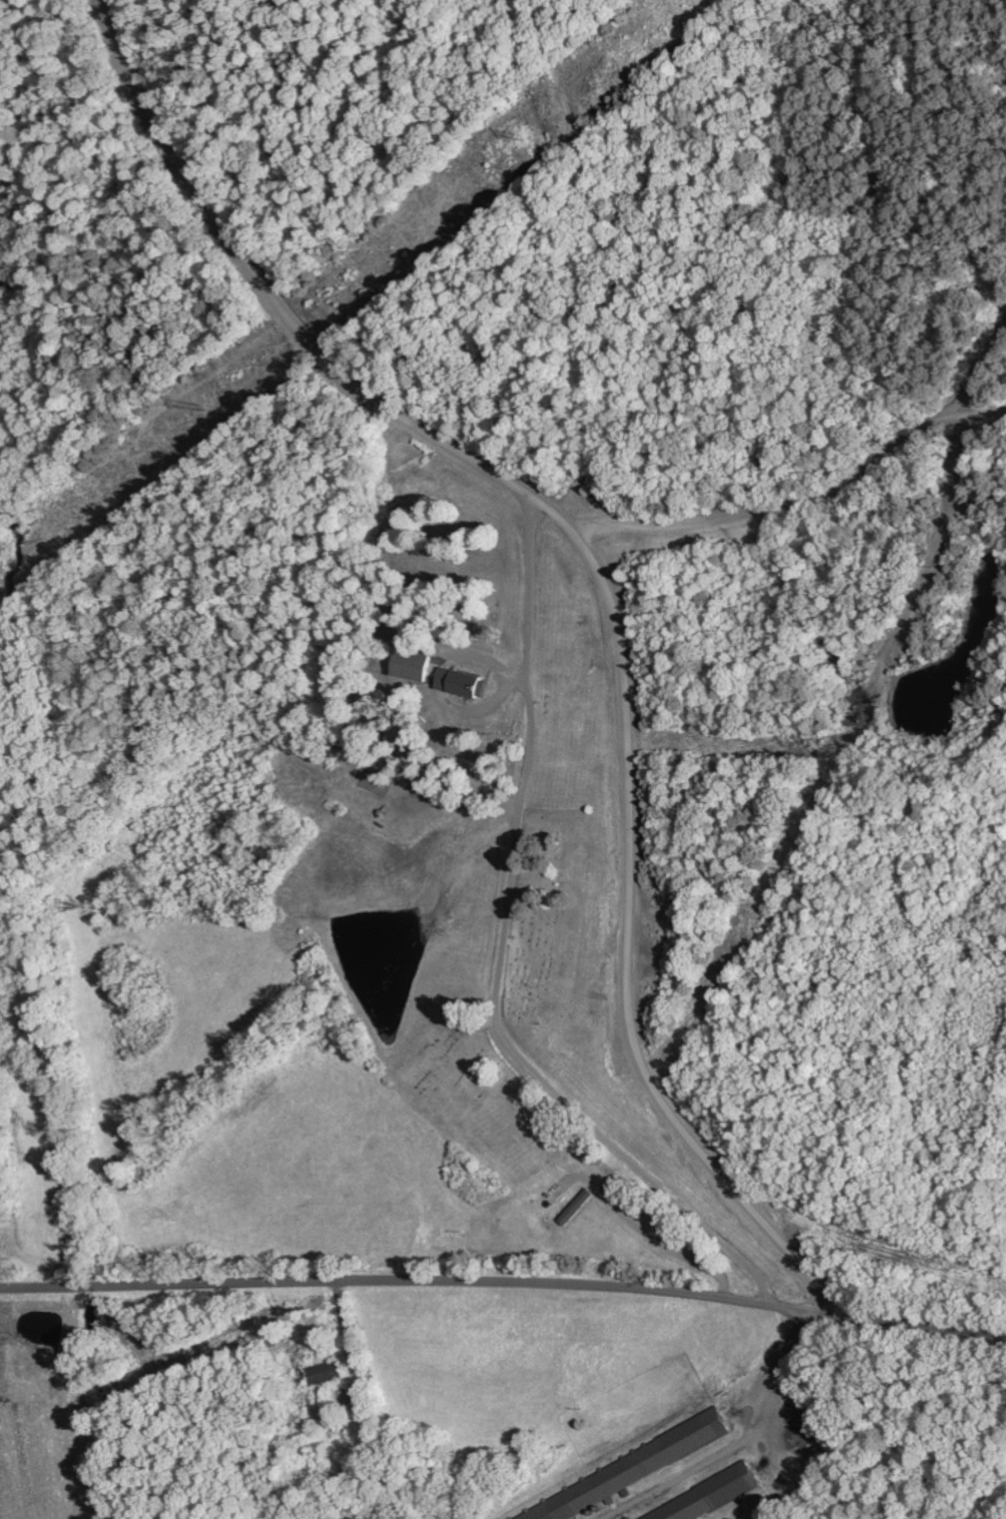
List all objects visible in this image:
road: (741, 289)
road: (603, 587)
building: (418, 666)
building: (467, 683)
park: (543, 916)
road: (502, 958)
park: (451, 1070)
building: (581, 1207)
road: (504, 1281)
building: (330, 1374)
building: (621, 1476)
building: (708, 1497)
building: (626, 1518)

